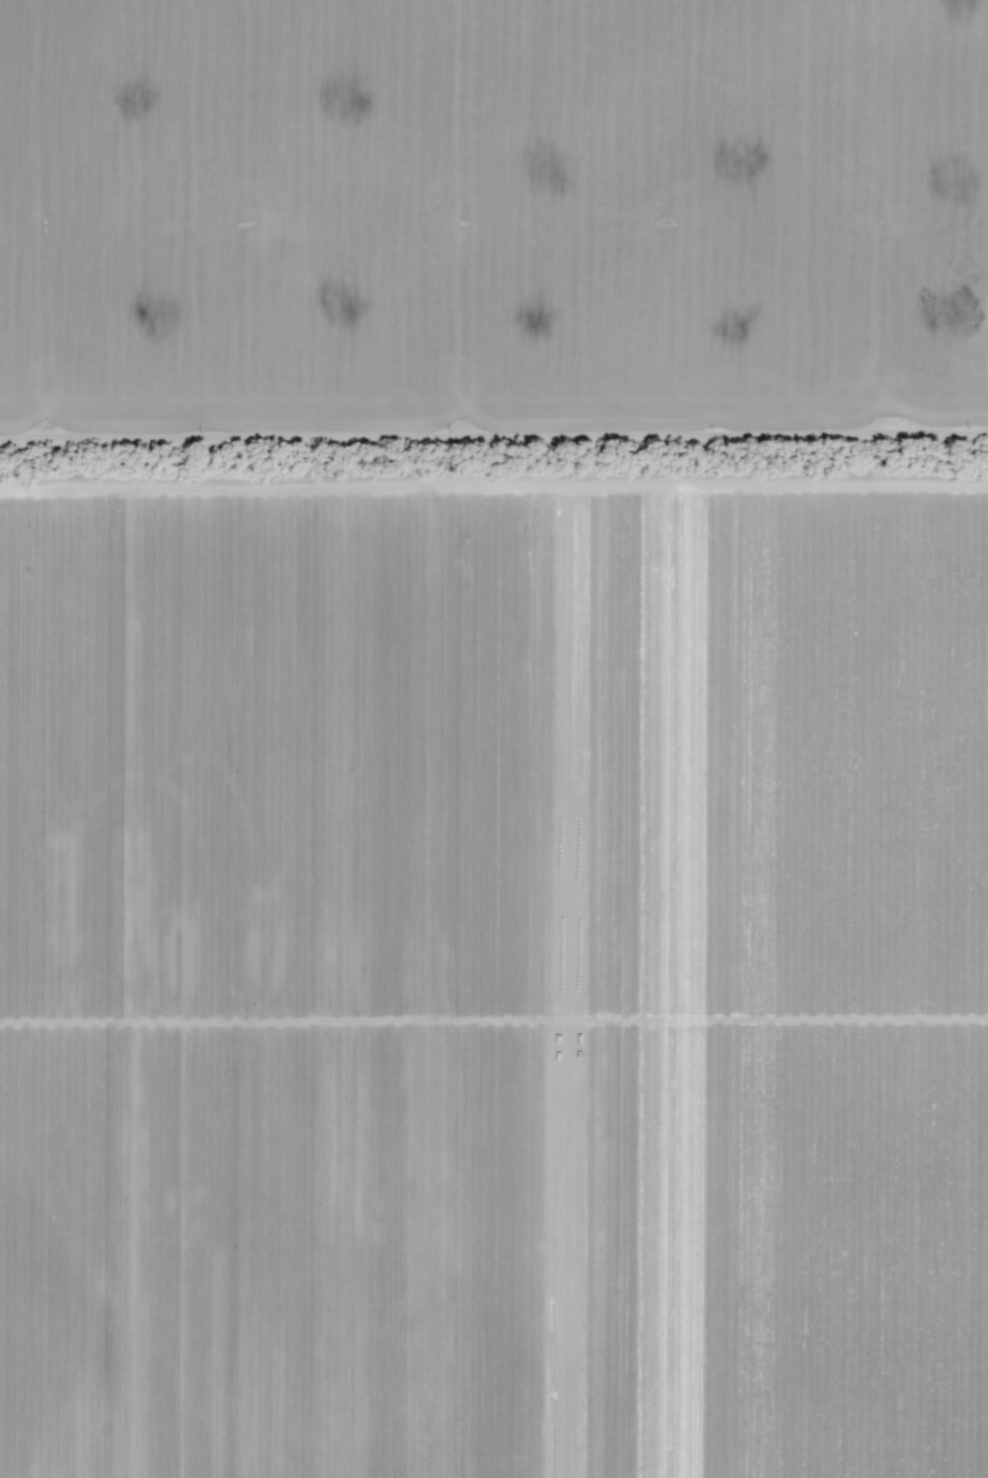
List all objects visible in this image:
road: (494, 452)
crop: (494, 965)

